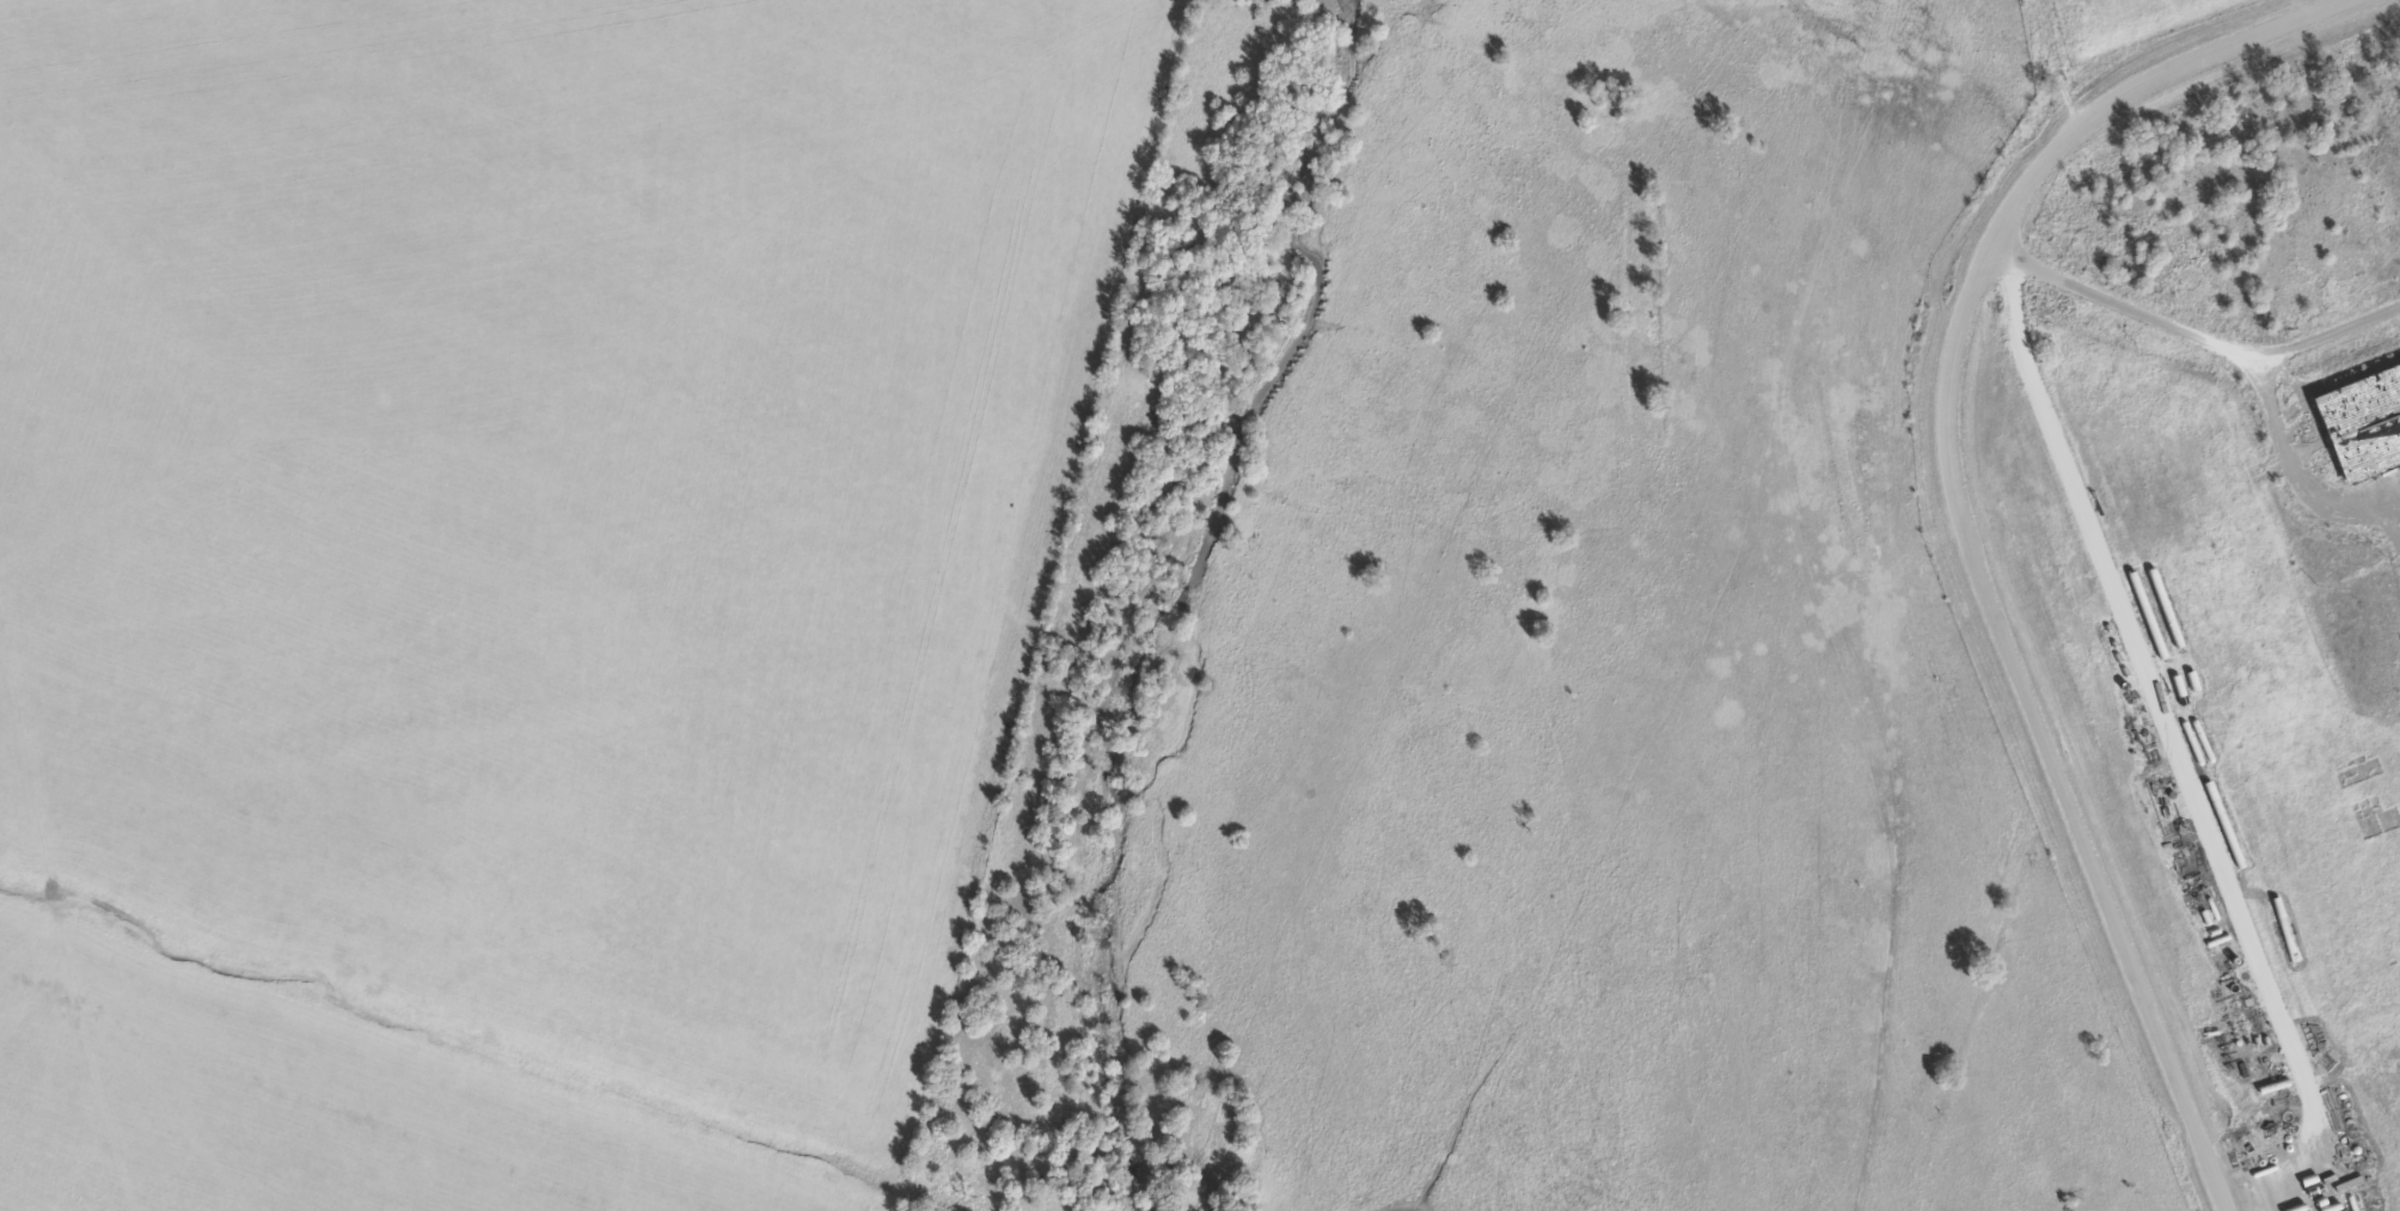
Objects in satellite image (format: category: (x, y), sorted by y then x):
road: (2203, 56)
road: (2055, 66)
road: (2127, 307)
road: (2272, 412)
building: (2362, 423)
road: (2380, 496)
road: (2018, 669)
road: (2172, 751)

